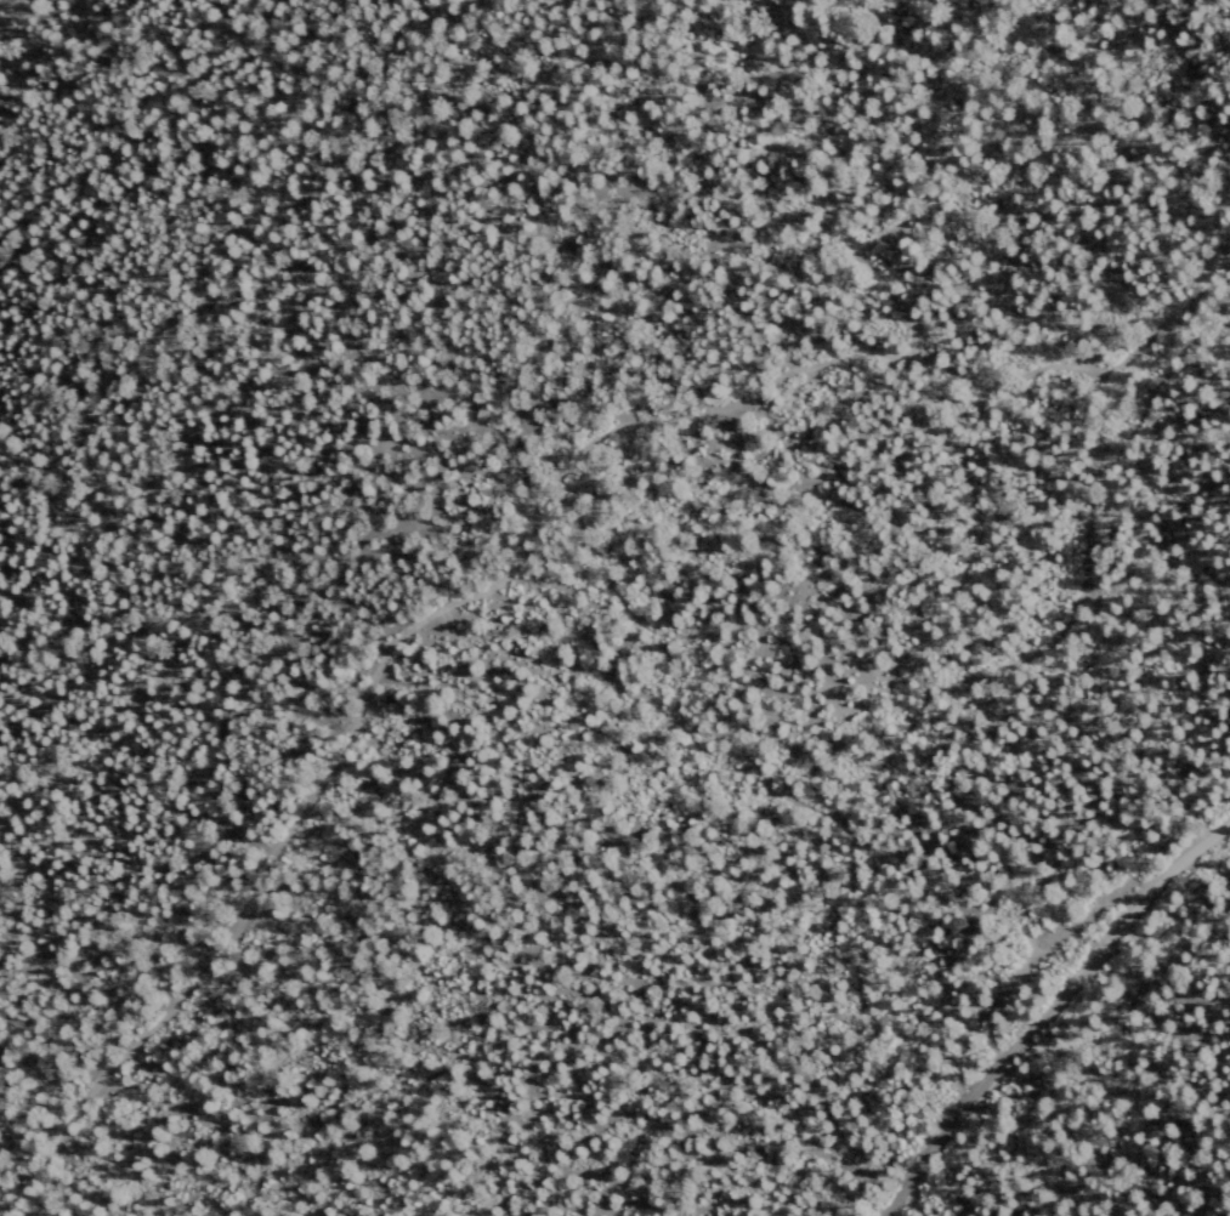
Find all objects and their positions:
road: (1019, 989)

